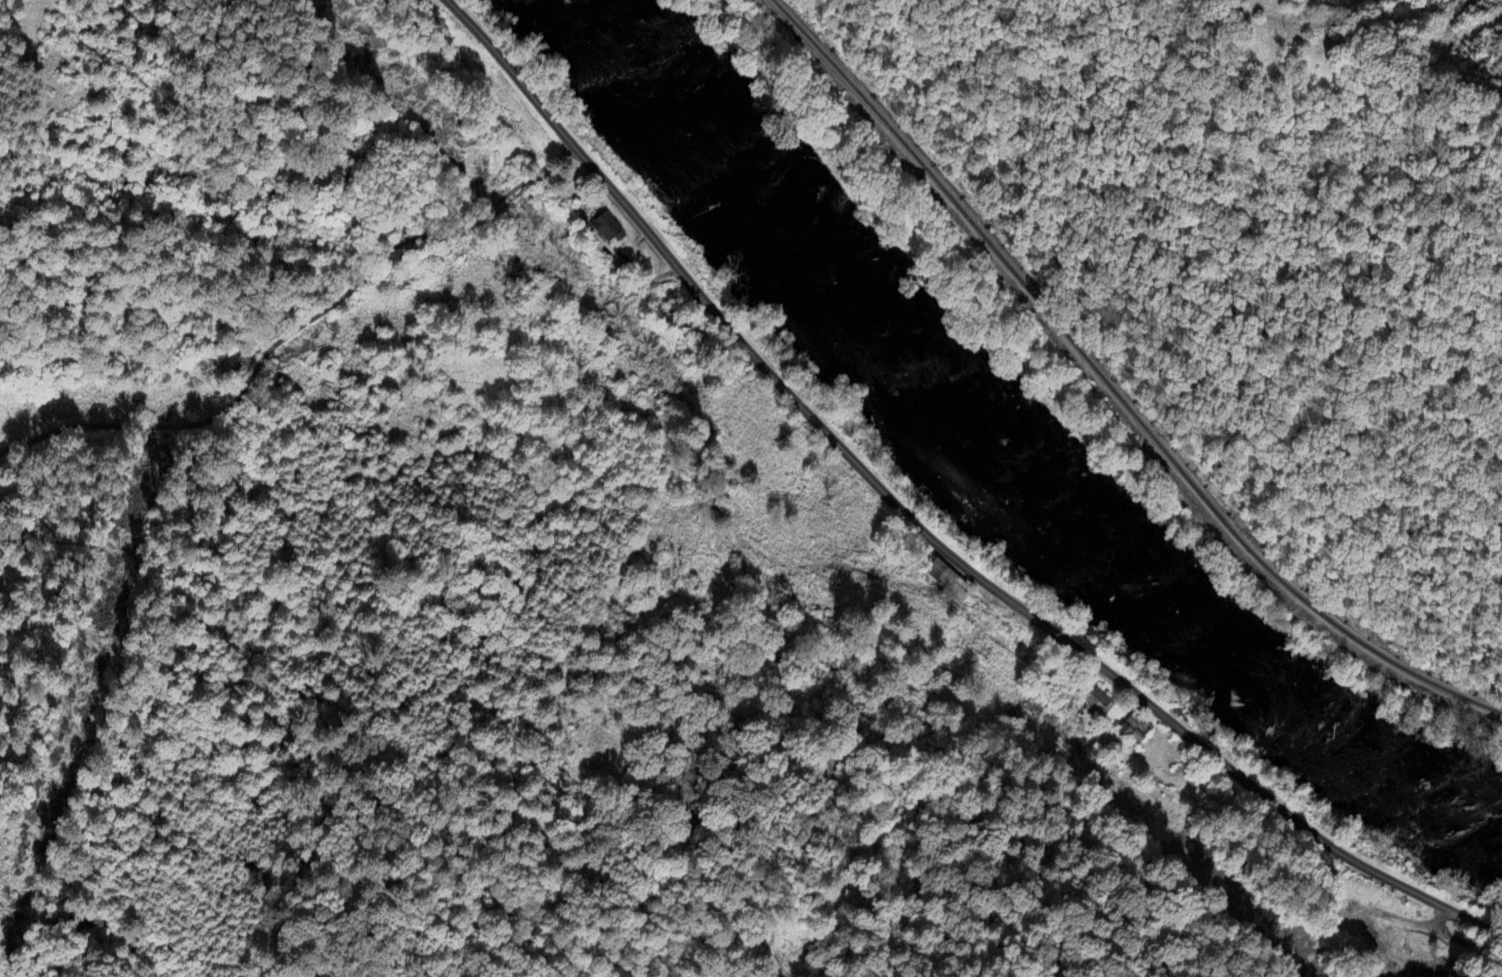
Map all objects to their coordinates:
building: (607, 230)
railway: (1109, 390)
river: (981, 478)
road: (920, 528)
building: (1345, 928)

